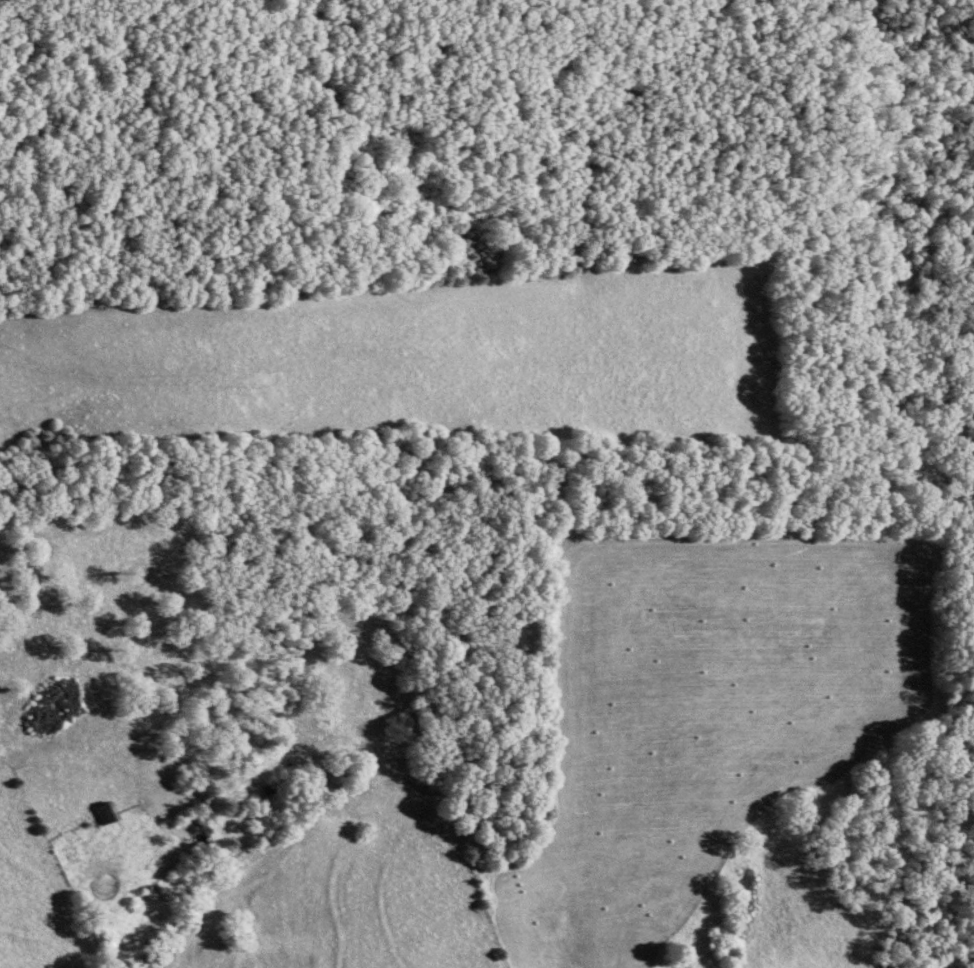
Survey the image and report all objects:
road: (359, 818)

